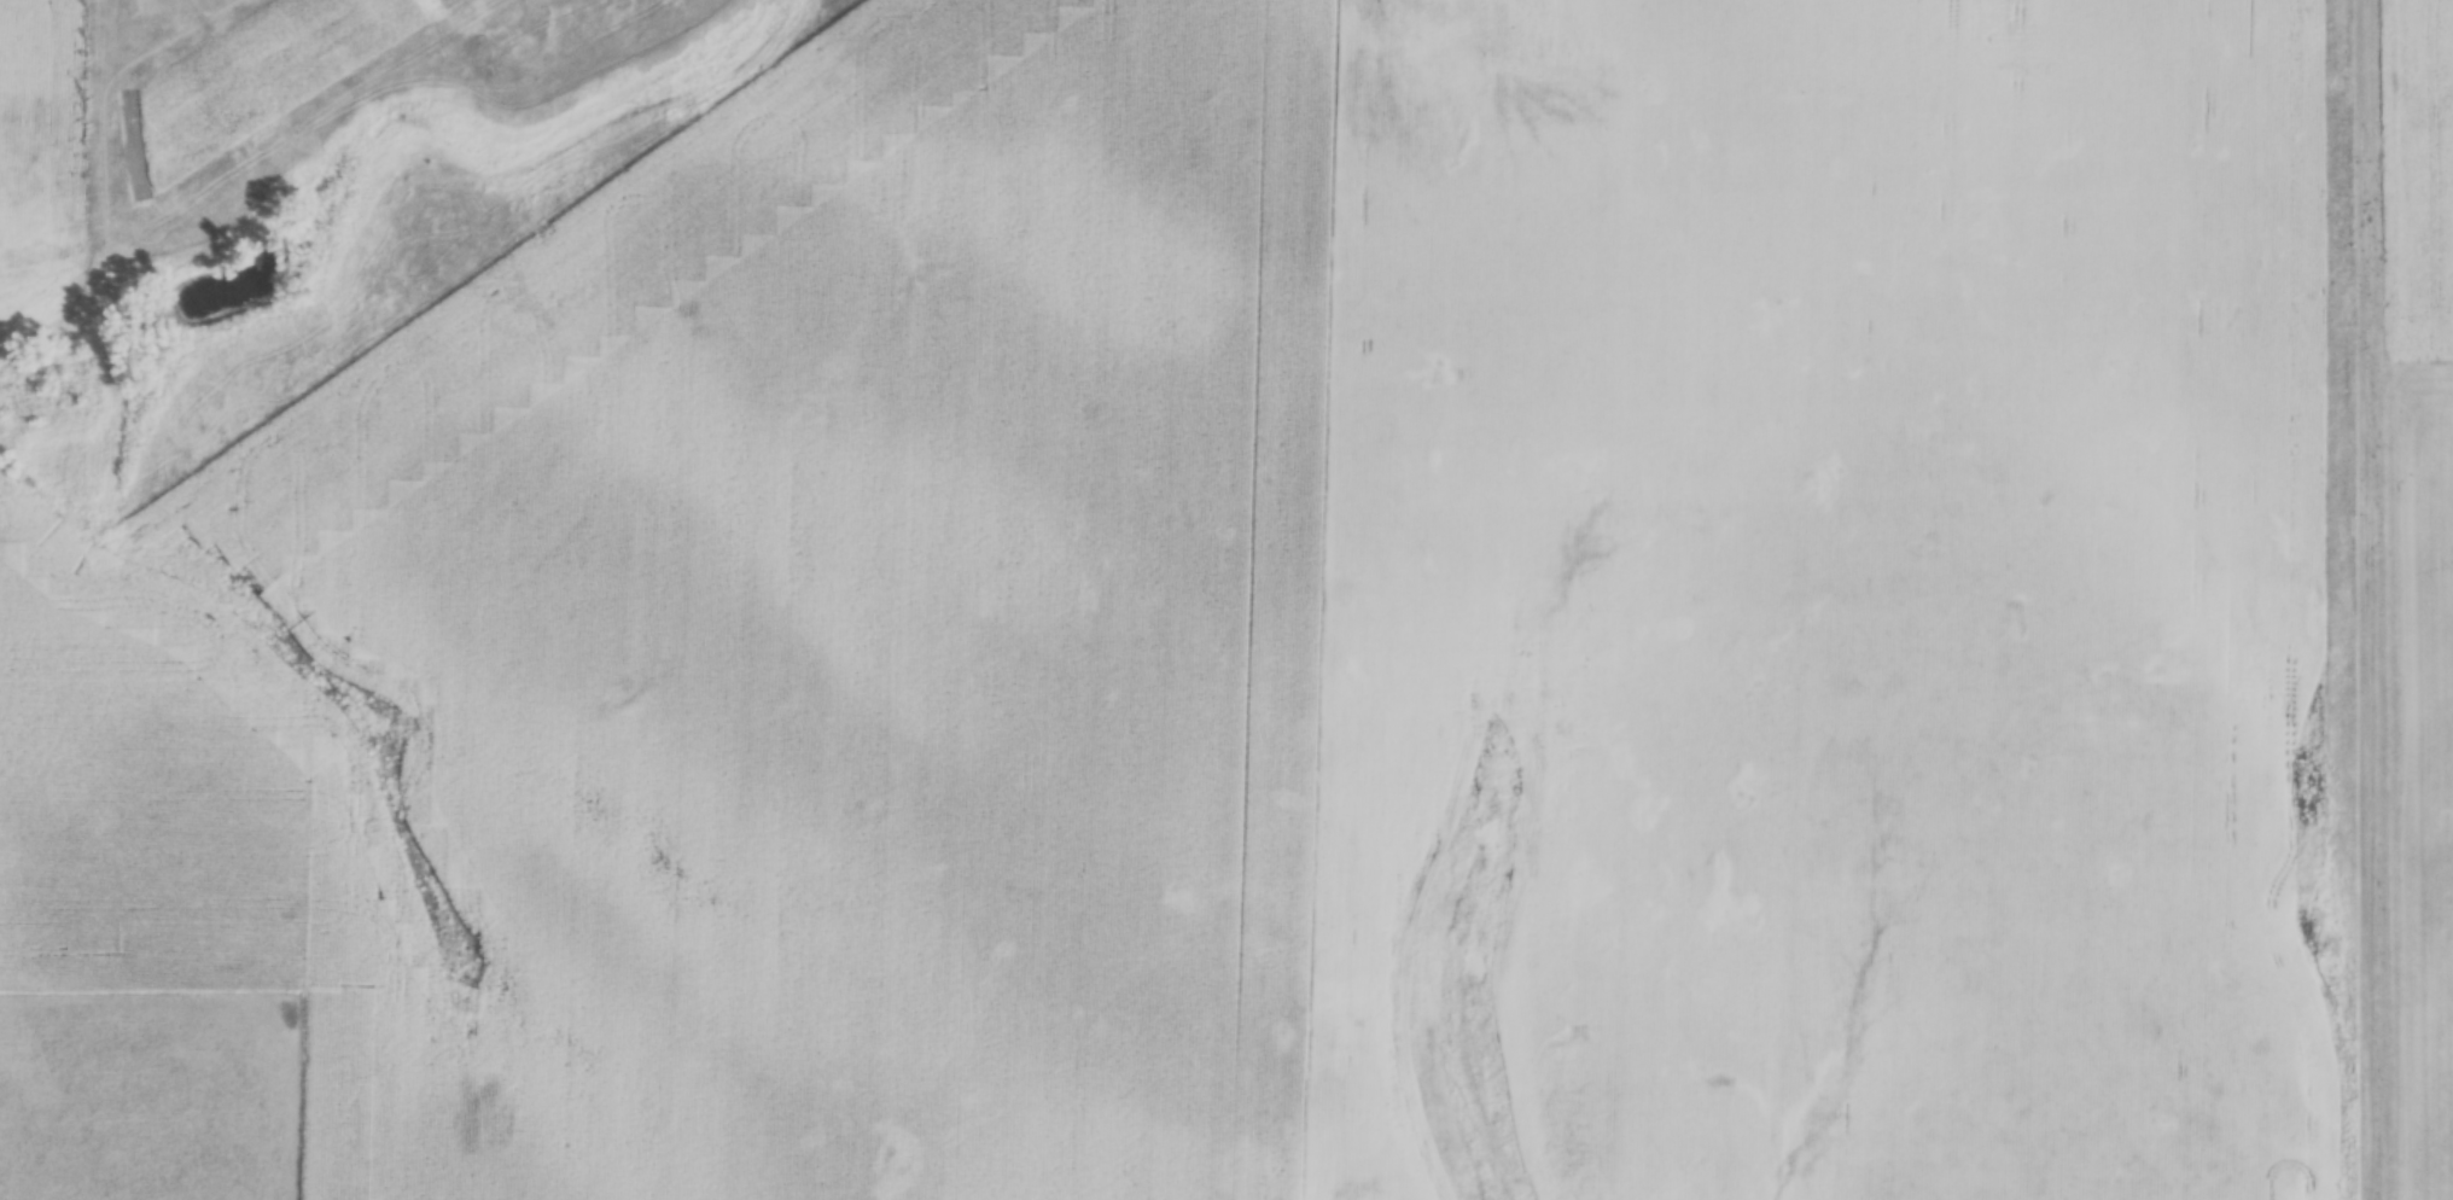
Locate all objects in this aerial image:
road: (2393, 599)
road: (130, 980)

